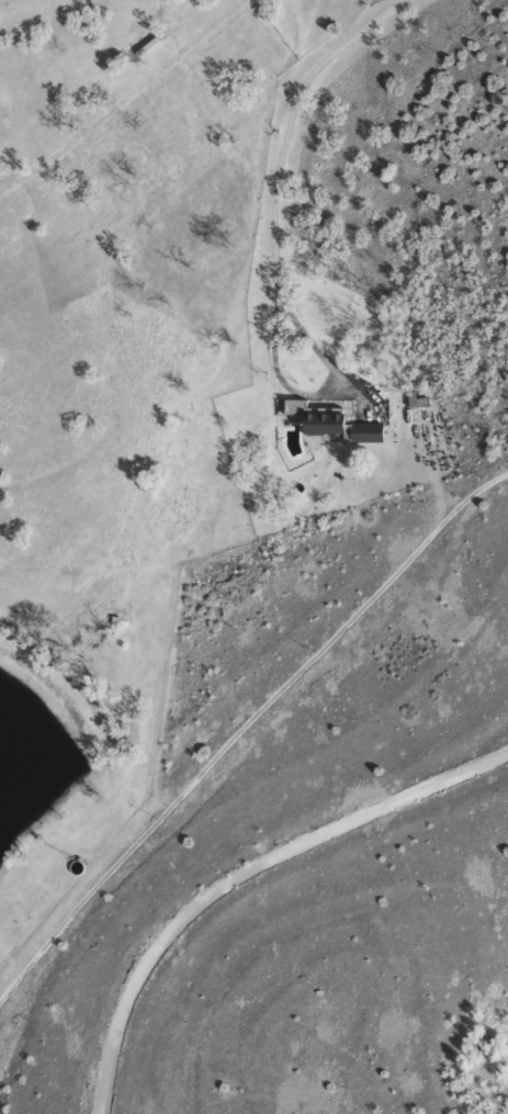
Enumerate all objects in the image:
road: (290, 117)
road: (314, 390)
building: (415, 398)
building: (311, 417)
building: (365, 431)

